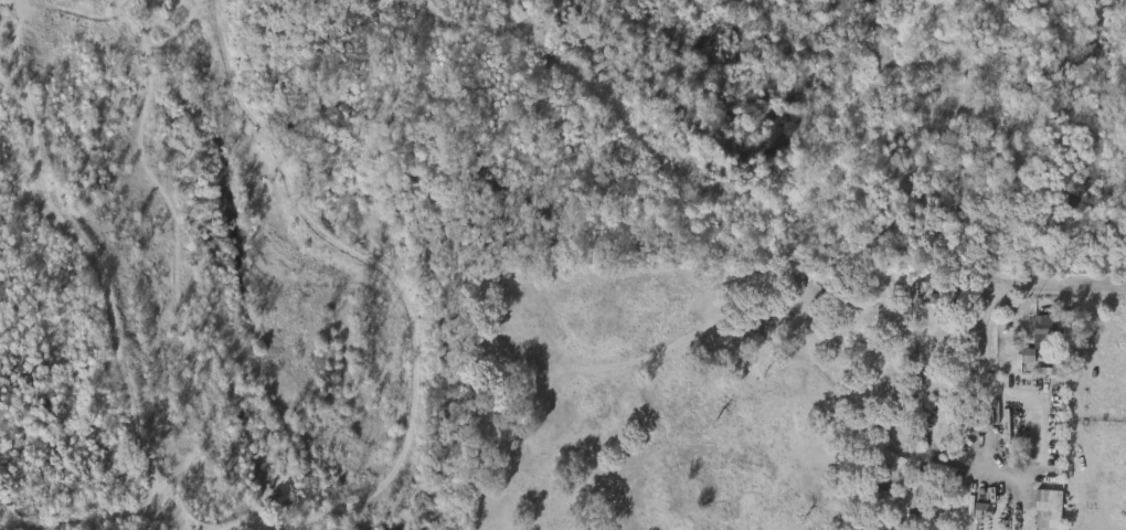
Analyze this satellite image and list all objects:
road: (1027, 287)
building: (942, 307)
building: (1043, 329)
building: (1031, 349)
road: (986, 427)
building: (1003, 432)
building: (1049, 499)
building: (1040, 513)

